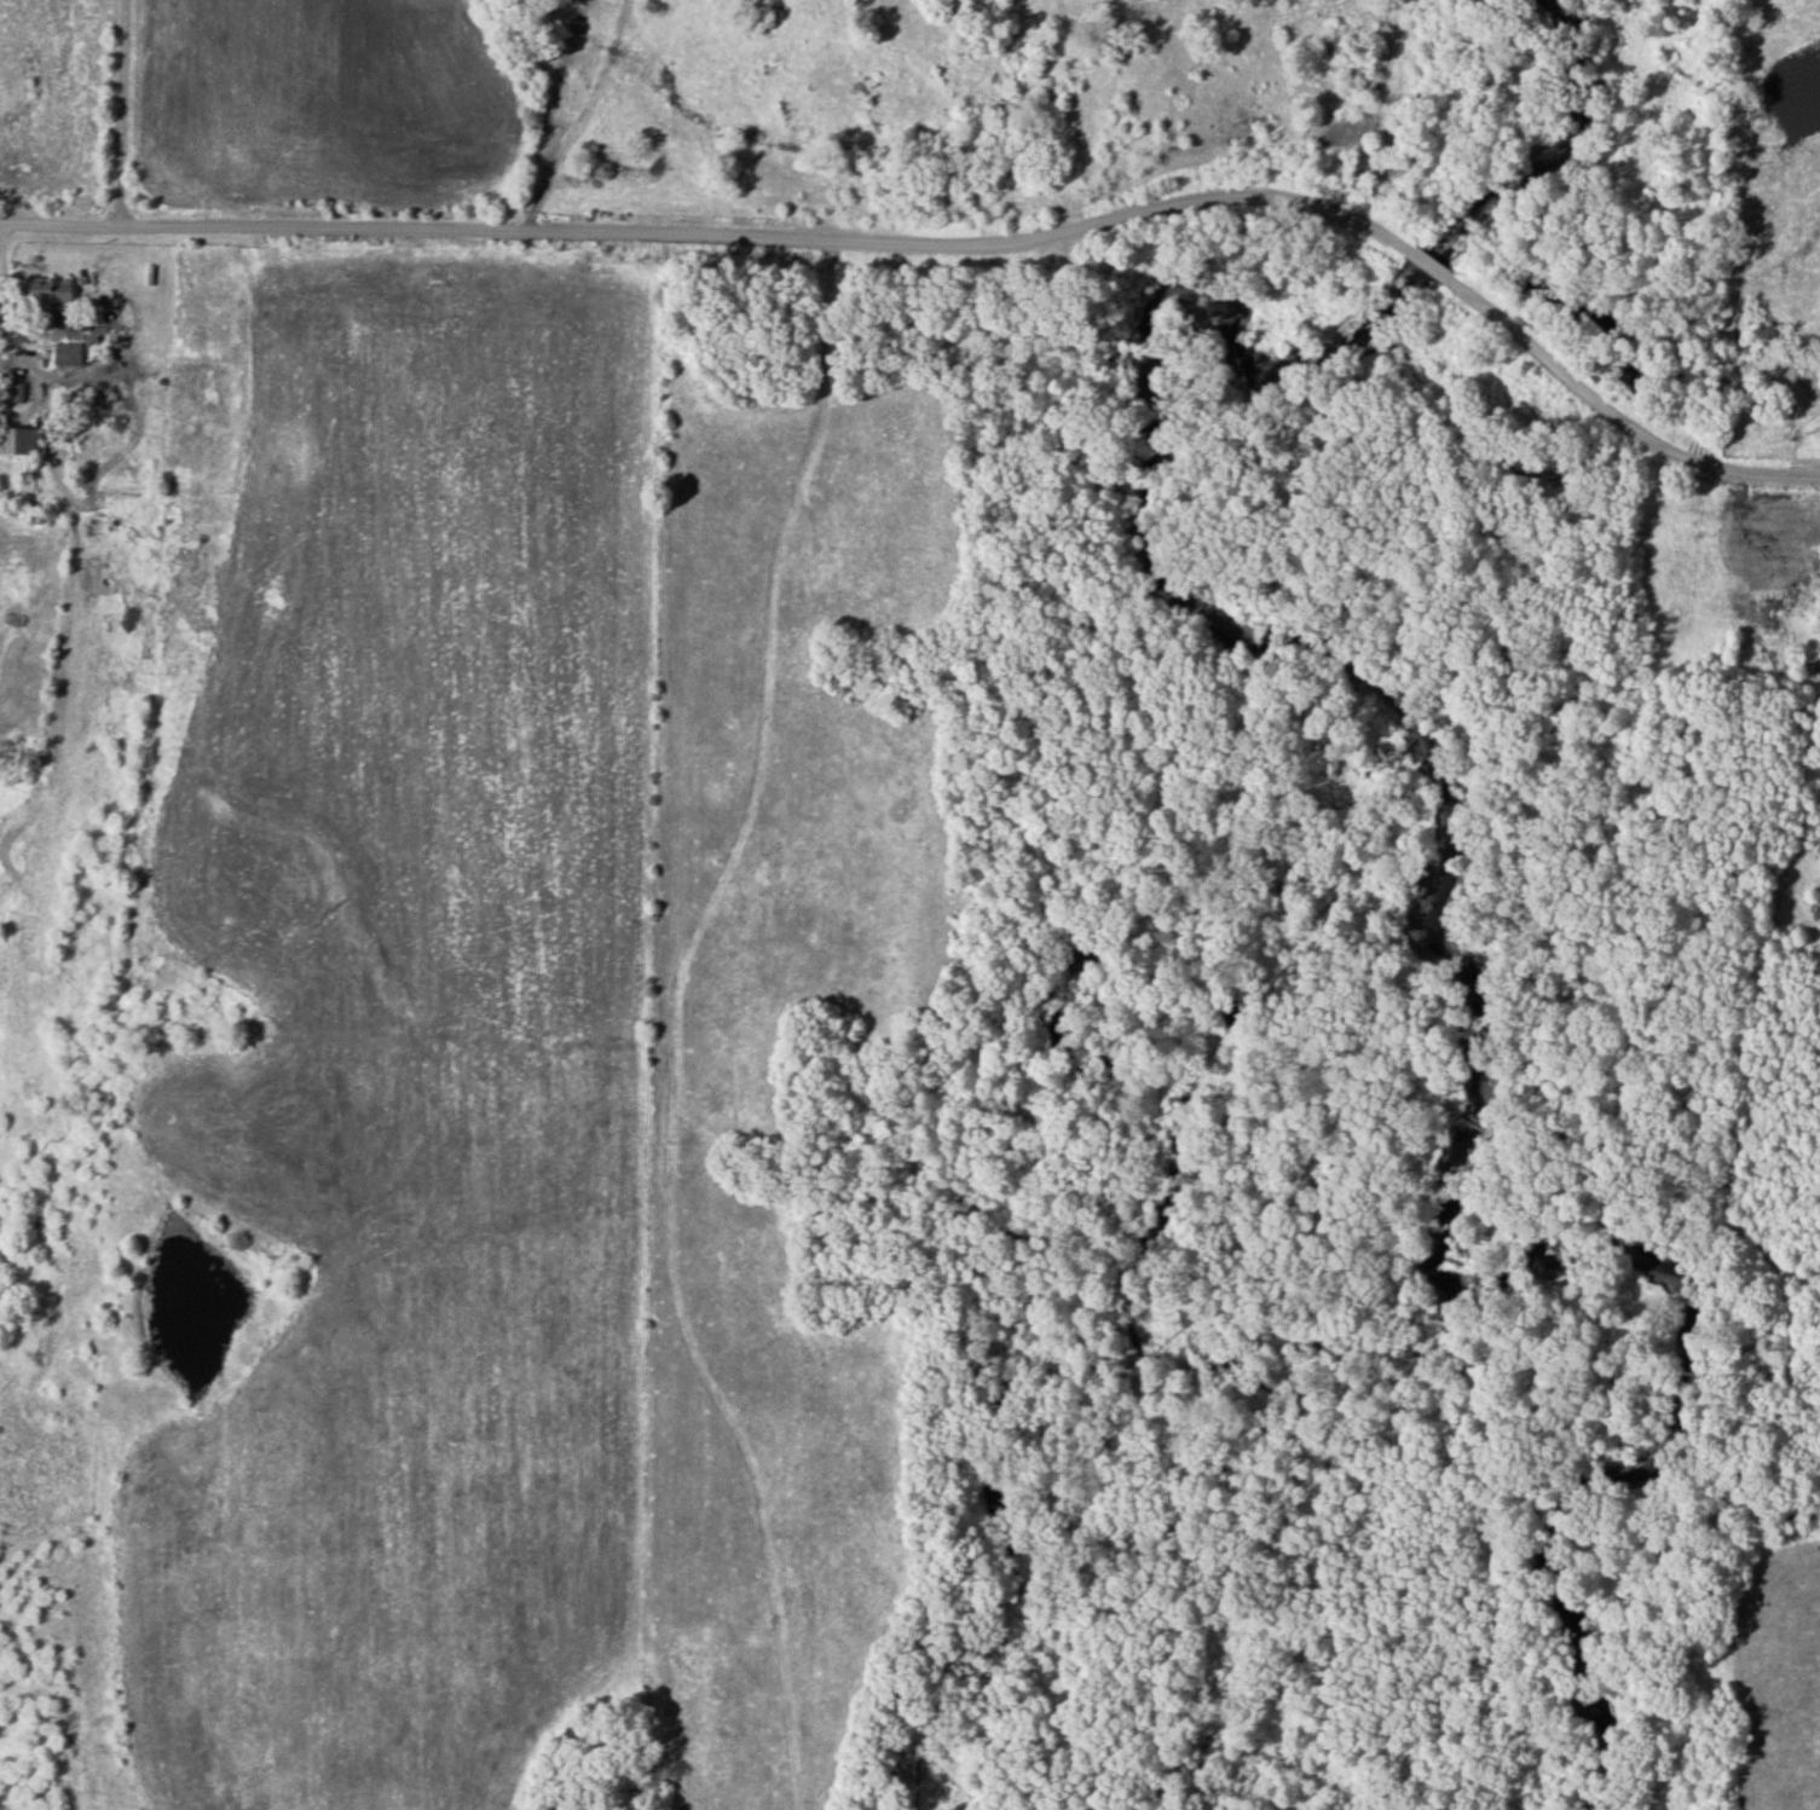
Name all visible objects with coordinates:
road: (126, 114)
road: (959, 250)
building: (51, 293)
road: (8, 322)
building: (64, 355)
building: (22, 444)

